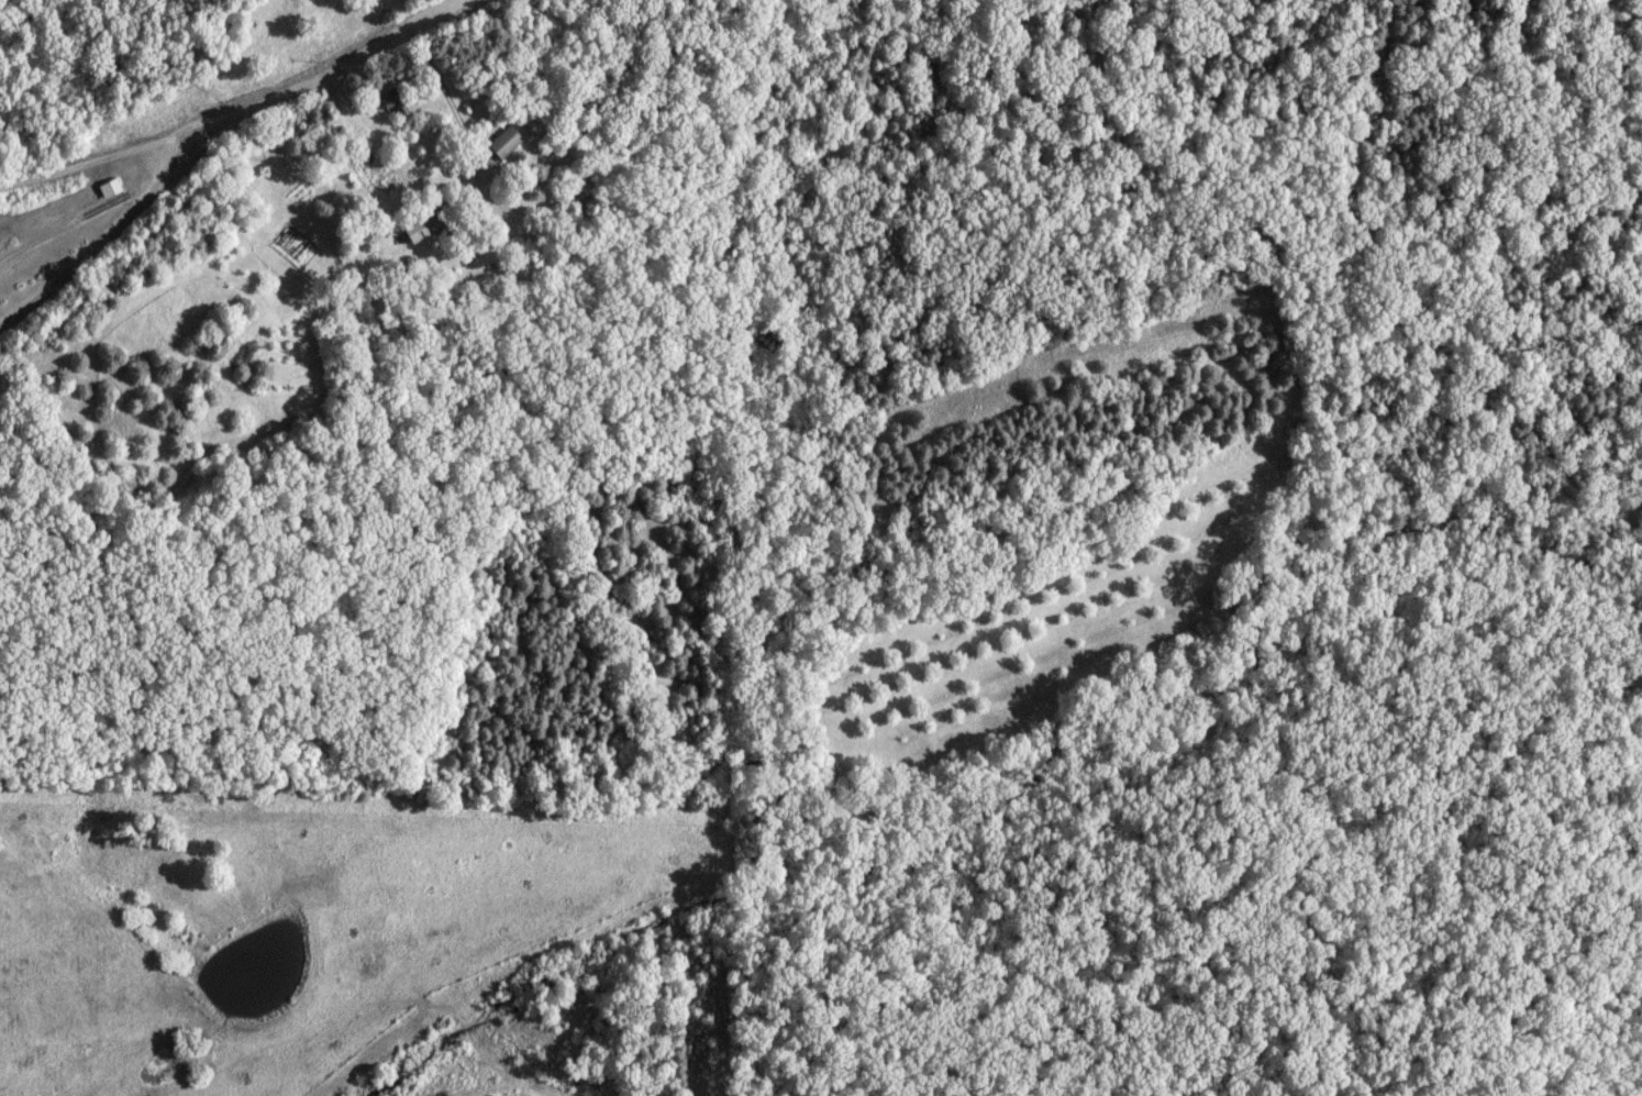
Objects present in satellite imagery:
road: (447, 96)
road: (228, 113)
building: (507, 144)
building: (112, 189)
building: (430, 225)
road: (114, 231)

